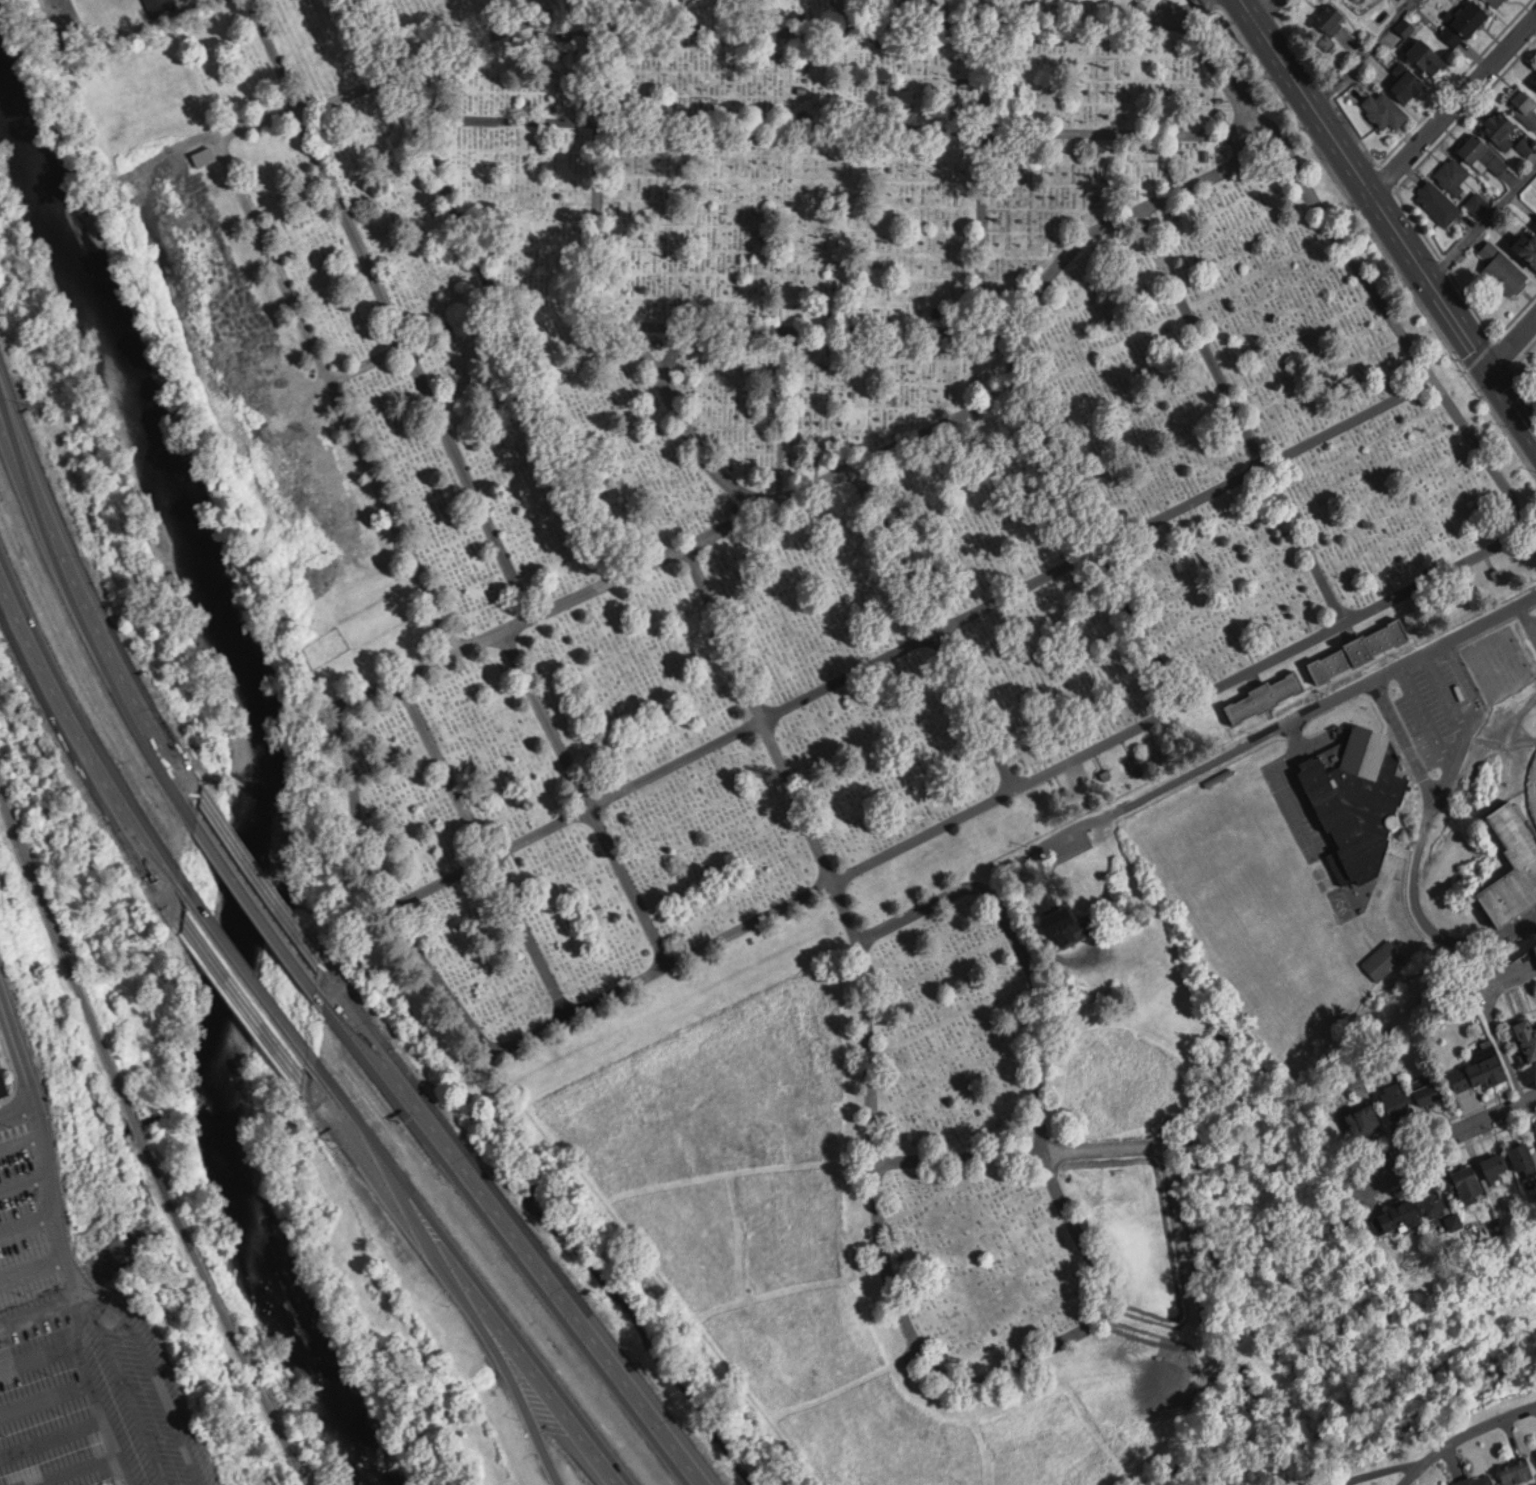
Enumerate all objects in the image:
building: (1497, 2)
road: (1270, 6)
building: (160, 7)
building: (1331, 17)
building: (1466, 21)
road: (1366, 48)
building: (1428, 56)
building: (1535, 80)
building: (1407, 82)
road: (1457, 100)
building: (1525, 105)
building: (1385, 109)
building: (1500, 127)
building: (1483, 154)
building: (204, 155)
building: (1453, 174)
building: (1438, 201)
road: (1396, 215)
road: (1485, 219)
building: (1528, 247)
building: (1504, 269)
road: (1516, 342)
road: (85, 599)
park: (819, 643)
building: (1360, 649)
road: (1391, 665)
road: (1443, 690)
building: (1267, 696)
road: (1424, 714)
road: (1474, 716)
road: (81, 732)
building: (1136, 767)
river: (264, 777)
building: (1359, 800)
road: (1420, 853)
building: (1525, 859)
road: (262, 896)
building: (1070, 924)
building: (1383, 959)
road: (244, 983)
building: (1527, 1038)
road: (16, 1049)
building: (1492, 1065)
building: (1462, 1078)
building: (1428, 1090)
building: (1399, 1100)
building: (1365, 1120)
road: (1460, 1134)
road: (147, 1139)
building: (1526, 1158)
building: (1497, 1165)
road: (44, 1166)
building: (1468, 1183)
building: (1437, 1200)
building: (1398, 1218)
road: (524, 1234)
road: (469, 1279)
road: (493, 1345)
road: (1462, 1434)
building: (1518, 1470)
building: (1471, 1479)

